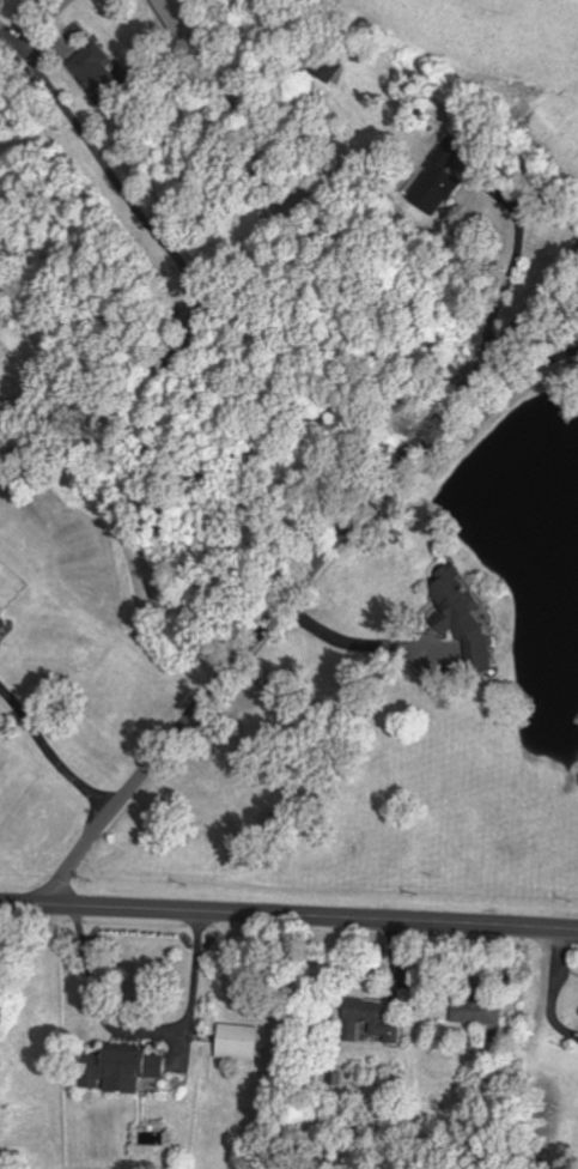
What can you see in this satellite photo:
building: (181, 17)
road: (38, 22)
building: (95, 69)
building: (436, 178)
road: (506, 267)
road: (193, 293)
road: (525, 363)
road: (304, 576)
building: (461, 618)
building: (2, 628)
road: (346, 642)
road: (49, 756)
road: (18, 905)
road: (306, 919)
building: (474, 1011)
building: (366, 1022)
road: (142, 1032)
building: (236, 1042)
building: (117, 1068)

